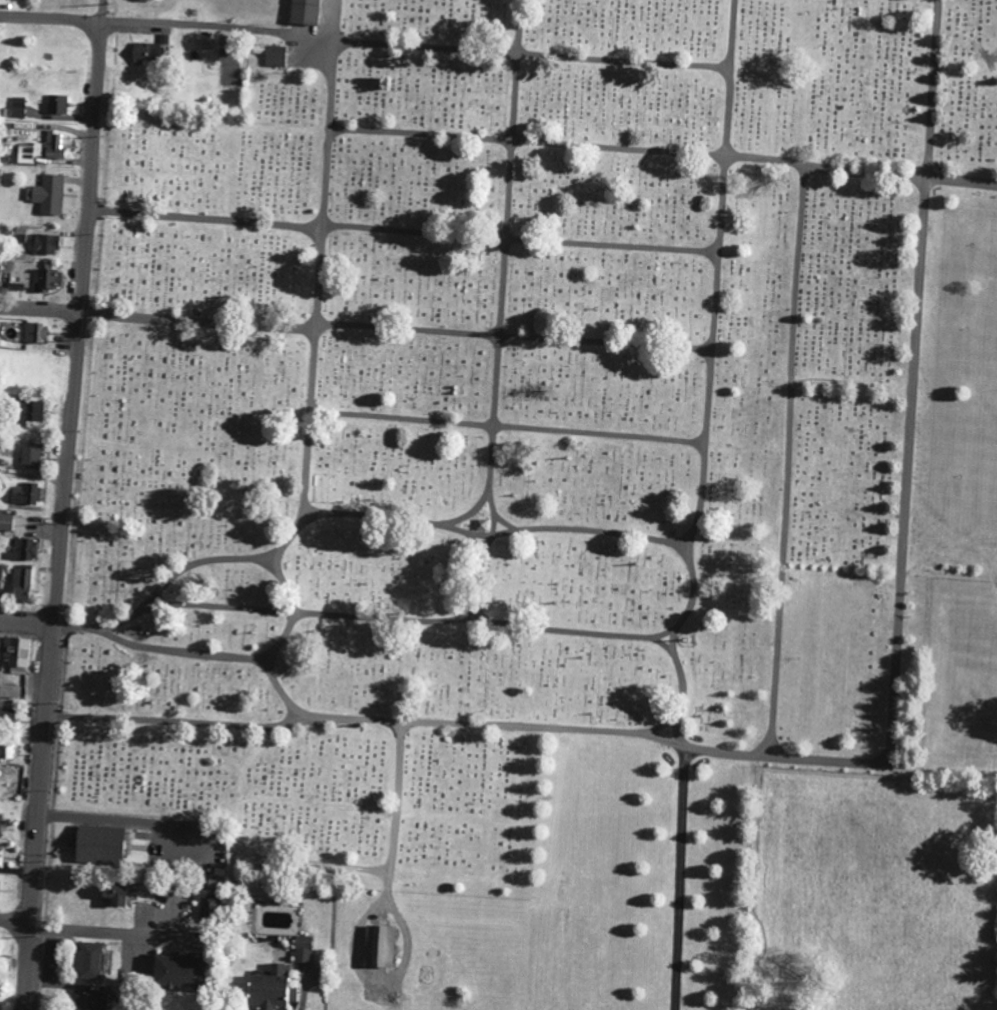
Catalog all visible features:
road: (341, 0)
building: (303, 12)
road: (122, 18)
road: (339, 21)
building: (145, 53)
road: (534, 53)
building: (275, 55)
road: (334, 84)
building: (56, 104)
building: (18, 107)
building: (56, 145)
road: (664, 150)
building: (26, 154)
road: (325, 176)
building: (48, 194)
road: (206, 216)
road: (518, 241)
building: (45, 244)
building: (49, 279)
building: (0, 282)
building: (17, 283)
road: (41, 306)
road: (396, 327)
building: (35, 332)
road: (708, 376)
building: (30, 411)
road: (507, 426)
building: (29, 456)
road: (785, 461)
park: (541, 467)
road: (492, 468)
building: (25, 494)
road: (67, 505)
road: (466, 512)
road: (301, 515)
building: (5, 521)
road: (498, 532)
building: (23, 549)
building: (21, 585)
road: (28, 621)
road: (569, 625)
road: (249, 654)
building: (14, 655)
road: (891, 712)
building: (7, 714)
road: (112, 714)
road: (239, 721)
building: (4, 751)
road: (397, 812)
road: (107, 820)
building: (96, 845)
building: (1, 857)
road: (678, 877)
building: (118, 894)
building: (209, 908)
road: (97, 932)
building: (377, 947)
building: (302, 949)
building: (86, 961)
building: (174, 971)
building: (268, 989)
building: (89, 1001)

